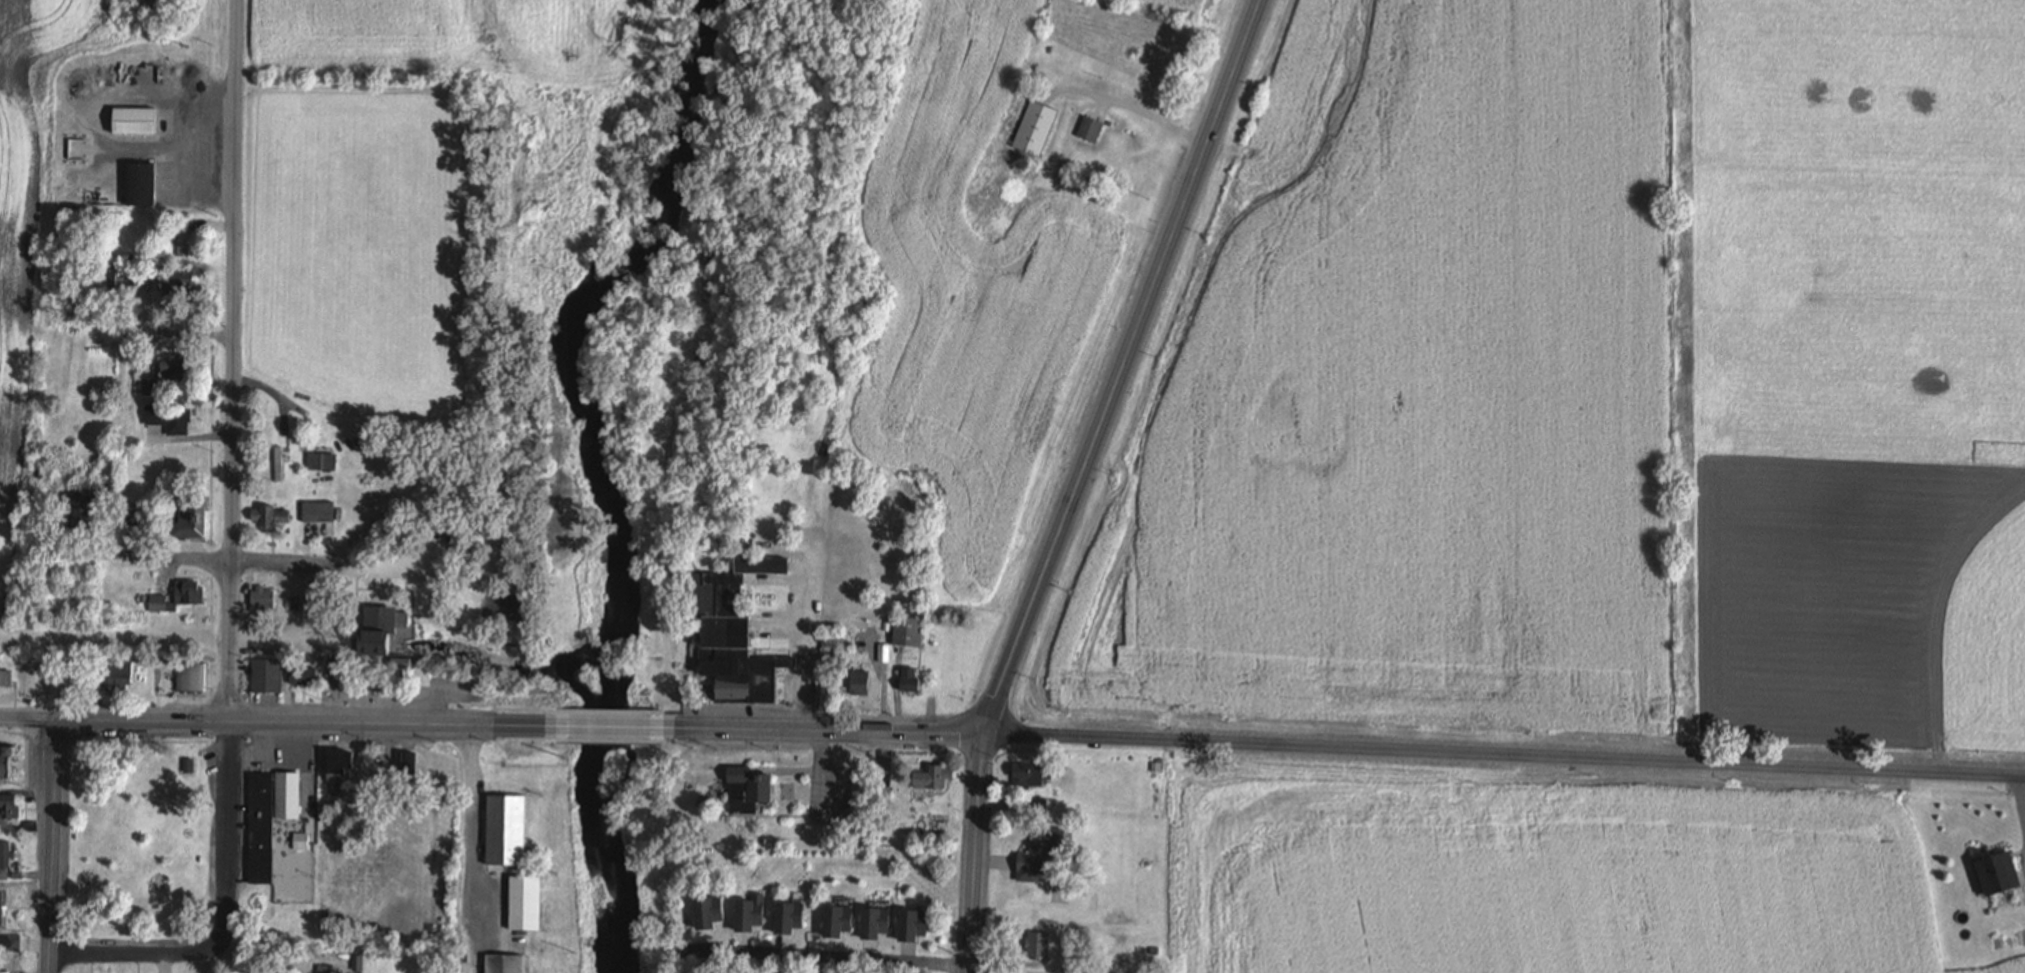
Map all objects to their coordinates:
crop: (1188, 5)
crop: (458, 37)
building: (183, 93)
building: (133, 121)
building: (1035, 127)
building: (1090, 128)
building: (140, 184)
crop: (21, 192)
road: (1187, 197)
building: (183, 239)
building: (117, 279)
building: (178, 285)
building: (72, 287)
crop: (966, 293)
road: (191, 332)
road: (232, 361)
crop: (1861, 367)
building: (177, 368)
building: (151, 386)
crop: (1419, 392)
building: (170, 417)
building: (322, 460)
building: (279, 463)
river: (595, 466)
building: (40, 471)
building: (79, 511)
building: (316, 513)
building: (267, 518)
building: (130, 522)
building: (187, 523)
road: (785, 544)
road: (225, 558)
road: (1048, 563)
road: (420, 573)
building: (188, 591)
building: (262, 600)
building: (291, 603)
building: (158, 604)
road: (790, 622)
road: (442, 626)
building: (379, 628)
building: (731, 629)
road: (808, 630)
building: (908, 631)
building: (883, 652)
building: (333, 661)
building: (400, 666)
building: (120, 673)
building: (304, 674)
building: (266, 675)
building: (6, 677)
building: (190, 677)
building: (94, 679)
building: (371, 679)
building: (909, 680)
building: (860, 682)
road: (27, 719)
road: (402, 724)
road: (612, 726)
road: (816, 729)
road: (1504, 754)
road: (54, 759)
building: (5, 762)
building: (189, 764)
building: (406, 766)
building: (1155, 766)
building: (339, 770)
building: (1046, 772)
building: (933, 776)
building: (1016, 783)
building: (747, 788)
building: (882, 792)
building: (787, 793)
building: (286, 794)
road: (2018, 800)
building: (1037, 803)
building: (8, 806)
building: (334, 806)
building: (881, 823)
building: (260, 827)
road: (475, 827)
building: (505, 829)
road: (227, 831)
building: (874, 835)
park: (141, 840)
building: (300, 841)
building: (5, 852)
road: (974, 852)
building: (1039, 852)
building: (1989, 861)
crop: (1348, 870)
building: (3, 872)
park: (294, 877)
crop: (1726, 881)
building: (1059, 895)
building: (524, 904)
building: (2, 908)
building: (706, 912)
building: (749, 913)
building: (787, 917)
building: (836, 920)
building: (873, 923)
building: (911, 925)
building: (298, 927)
building: (298, 934)
building: (10, 941)
building: (1037, 944)
road: (812, 947)
road: (472, 949)
road: (137, 953)
building: (680, 955)
road: (830, 958)
building: (503, 964)
crop: (2014, 968)
building: (328, 969)

